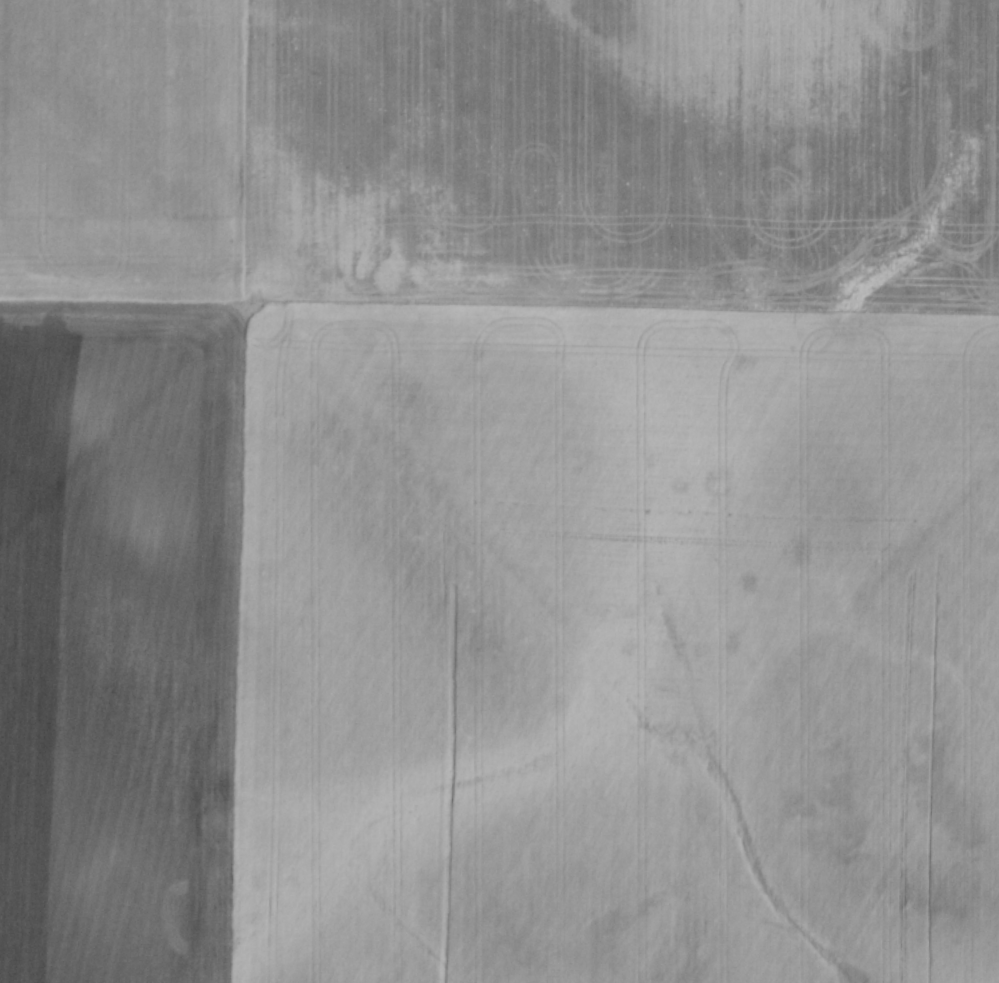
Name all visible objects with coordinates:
crop: (499, 491)

